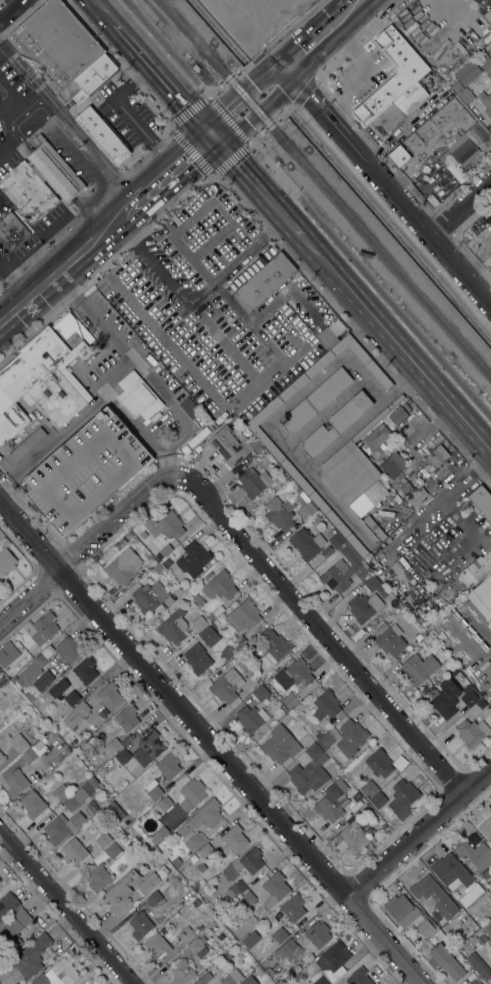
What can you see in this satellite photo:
road: (9, 8)
road: (346, 11)
road: (107, 12)
building: (488, 15)
airport: (255, 18)
road: (310, 43)
road: (165, 48)
building: (61, 51)
building: (484, 62)
traffic signals: (287, 64)
building: (467, 72)
road: (163, 77)
building: (450, 79)
road: (5, 90)
building: (388, 92)
building: (462, 92)
road: (29, 93)
road: (247, 96)
road: (5, 100)
building: (486, 101)
building: (454, 104)
road: (122, 112)
road: (67, 119)
road: (227, 119)
building: (388, 119)
building: (471, 122)
traffic signals: (209, 131)
building: (102, 134)
road: (191, 151)
building: (461, 151)
building: (399, 155)
road: (165, 170)
road: (389, 179)
building: (40, 180)
road: (254, 183)
railway: (325, 188)
building: (432, 199)
road: (463, 208)
building: (172, 222)
road: (57, 225)
building: (12, 231)
road: (205, 247)
road: (248, 248)
road: (31, 249)
road: (152, 259)
road: (60, 264)
road: (13, 278)
road: (370, 278)
building: (264, 281)
road: (202, 291)
road: (395, 344)
building: (44, 376)
building: (138, 395)
building: (315, 399)
building: (397, 414)
building: (337, 423)
building: (199, 436)
building: (377, 438)
road: (283, 441)
building: (26, 444)
building: (229, 445)
building: (0, 456)
building: (436, 456)
building: (86, 470)
building: (354, 474)
building: (403, 478)
building: (254, 481)
building: (307, 488)
road: (439, 501)
building: (481, 501)
building: (306, 509)
building: (280, 512)
building: (164, 524)
road: (464, 528)
building: (130, 536)
building: (336, 539)
building: (4, 540)
road: (91, 542)
building: (121, 543)
building: (306, 543)
building: (165, 549)
building: (193, 558)
building: (6, 560)
building: (123, 565)
building: (157, 568)
building: (476, 569)
building: (344, 570)
building: (376, 585)
building: (220, 586)
building: (149, 596)
building: (482, 596)
building: (364, 606)
building: (215, 612)
building: (243, 614)
building: (199, 623)
building: (173, 626)
building: (44, 627)
building: (209, 635)
road: (324, 635)
building: (419, 637)
building: (389, 638)
building: (274, 644)
building: (409, 646)
building: (69, 648)
building: (227, 651)
building: (8, 653)
building: (197, 658)
building: (60, 664)
building: (419, 667)
building: (33, 668)
building: (86, 669)
building: (454, 670)
building: (294, 673)
building: (14, 678)
building: (2, 680)
building: (257, 680)
building: (41, 682)
building: (227, 685)
building: (57, 687)
building: (261, 692)
building: (29, 695)
building: (469, 695)
building: (110, 696)
building: (72, 697)
building: (445, 698)
building: (289, 700)
building: (325, 704)
building: (81, 708)
building: (127, 717)
building: (251, 718)
building: (472, 731)
building: (323, 738)
building: (126, 739)
building: (350, 739)
building: (19, 742)
road: (209, 742)
building: (151, 743)
building: (280, 744)
building: (111, 746)
building: (33, 751)
building: (123, 755)
building: (2, 757)
building: (399, 761)
building: (378, 763)
building: (169, 764)
building: (309, 771)
building: (16, 782)
building: (369, 788)
building: (193, 790)
building: (62, 791)
building: (155, 792)
building: (80, 793)
building: (356, 796)
building: (402, 797)
building: (379, 799)
building: (332, 800)
building: (33, 803)
building: (164, 803)
building: (116, 809)
building: (202, 816)
building: (62, 826)
building: (486, 827)
road: (417, 831)
building: (354, 835)
building: (235, 838)
building: (103, 839)
building: (195, 841)
building: (112, 849)
building: (74, 850)
building: (205, 850)
building: (475, 853)
building: (252, 859)
building: (98, 877)
building: (0, 879)
building: (466, 879)
building: (148, 883)
building: (236, 888)
building: (278, 890)
building: (120, 891)
building: (434, 895)
building: (154, 897)
building: (7, 904)
road: (68, 906)
building: (293, 906)
building: (401, 909)
building: (262, 915)
building: (140, 924)
building: (468, 926)
building: (425, 927)
building: (14, 928)
building: (487, 928)
building: (186, 933)
building: (318, 933)
building: (279, 934)
building: (249, 939)
building: (473, 939)
building: (482, 939)
building: (157, 946)
building: (198, 947)
building: (288, 949)
building: (229, 954)
building: (31, 955)
building: (445, 960)
building: (330, 963)
building: (479, 964)
building: (259, 970)
building: (182, 971)
building: (57, 974)
building: (358, 976)
building: (231, 977)
building: (203, 978)
building: (249, 980)
building: (477, 982)
building: (15, 983)
building: (237, 983)

